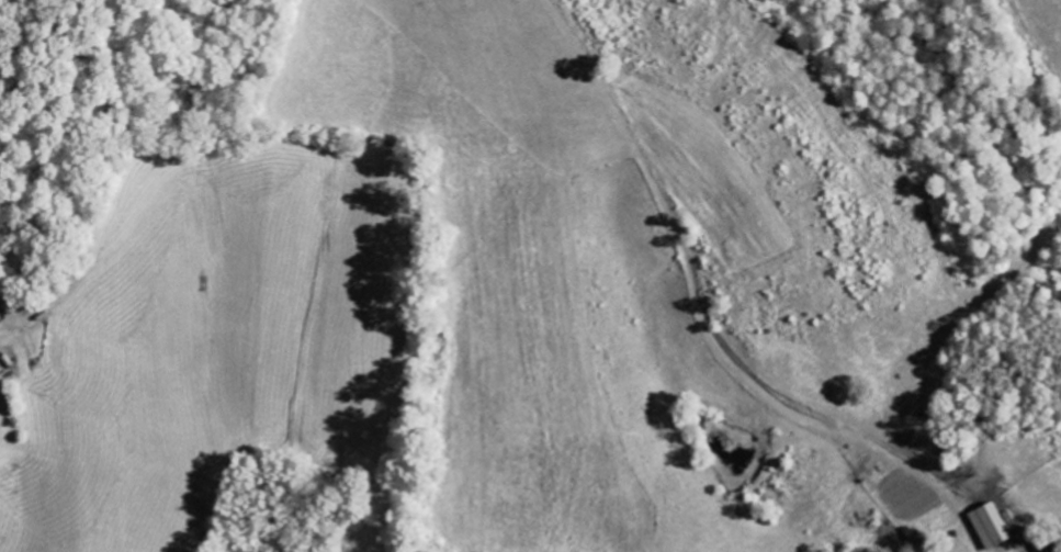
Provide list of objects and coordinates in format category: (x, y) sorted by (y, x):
building: (1, 384)
building: (990, 526)
building: (913, 537)
building: (1041, 547)

